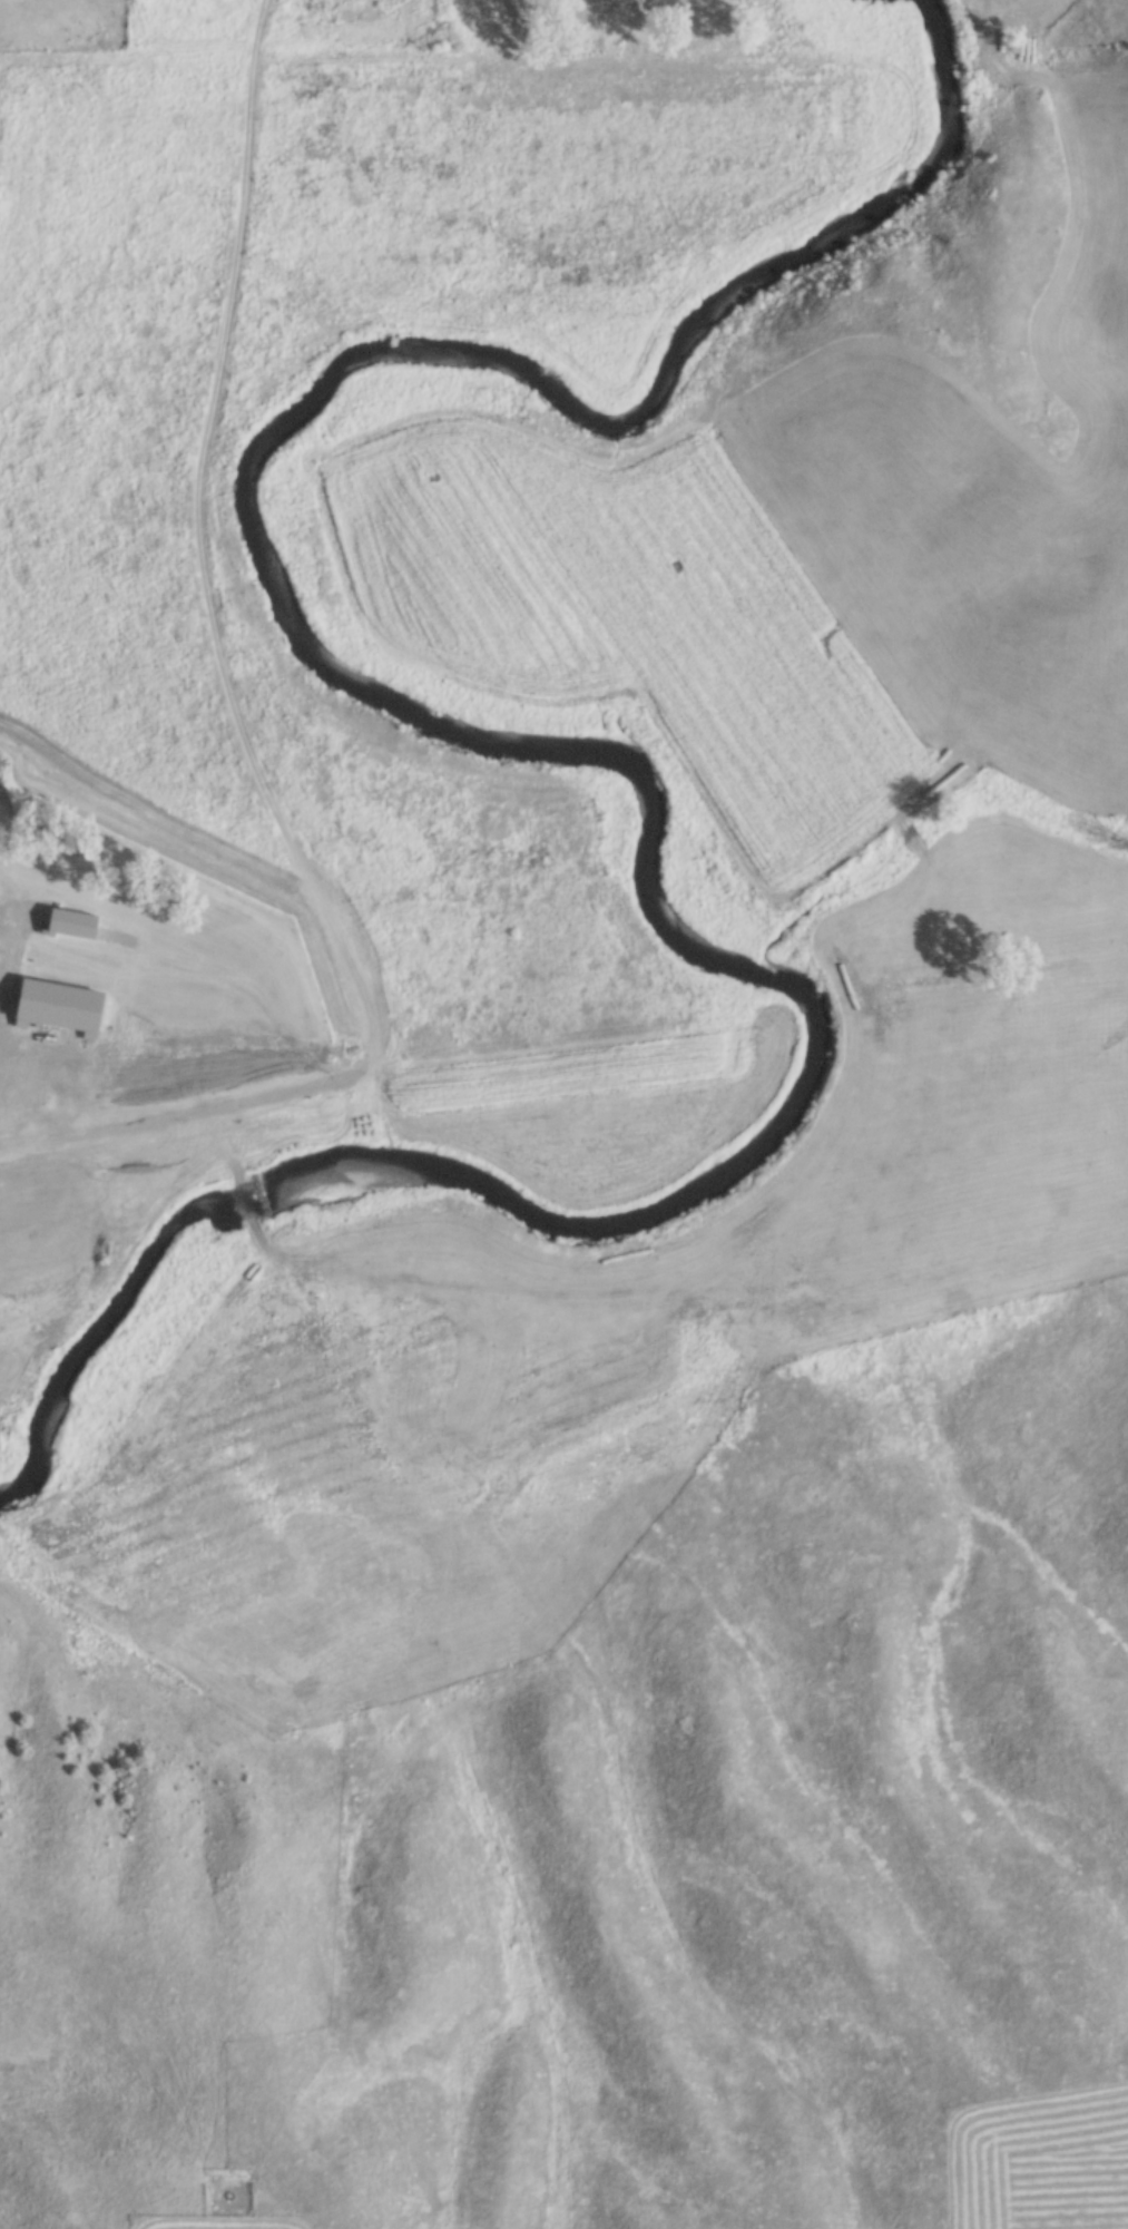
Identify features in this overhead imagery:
river: (580, 747)
building: (73, 921)
building: (105, 975)
road: (45, 1096)
building: (160, 1096)

